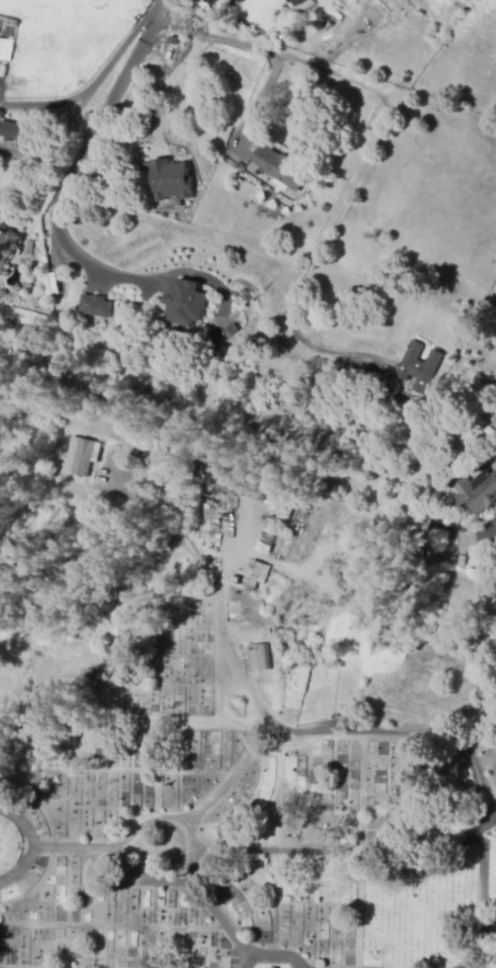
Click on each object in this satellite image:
building: (215, 1)
building: (239, 1)
building: (294, 2)
building: (253, 5)
building: (5, 49)
road: (97, 80)
road: (252, 105)
building: (87, 117)
building: (16, 133)
road: (369, 154)
building: (280, 168)
road: (69, 171)
building: (170, 179)
building: (325, 208)
building: (7, 243)
building: (185, 303)
building: (95, 306)
building: (419, 367)
building: (83, 455)
building: (237, 484)
building: (477, 492)
building: (276, 524)
building: (455, 561)
building: (258, 572)
building: (259, 657)
road: (222, 685)
park: (215, 704)
road: (128, 718)
road: (402, 733)
road: (244, 751)
road: (116, 842)
road: (30, 844)
road: (143, 879)
road: (481, 890)
road: (488, 924)
road: (272, 955)

